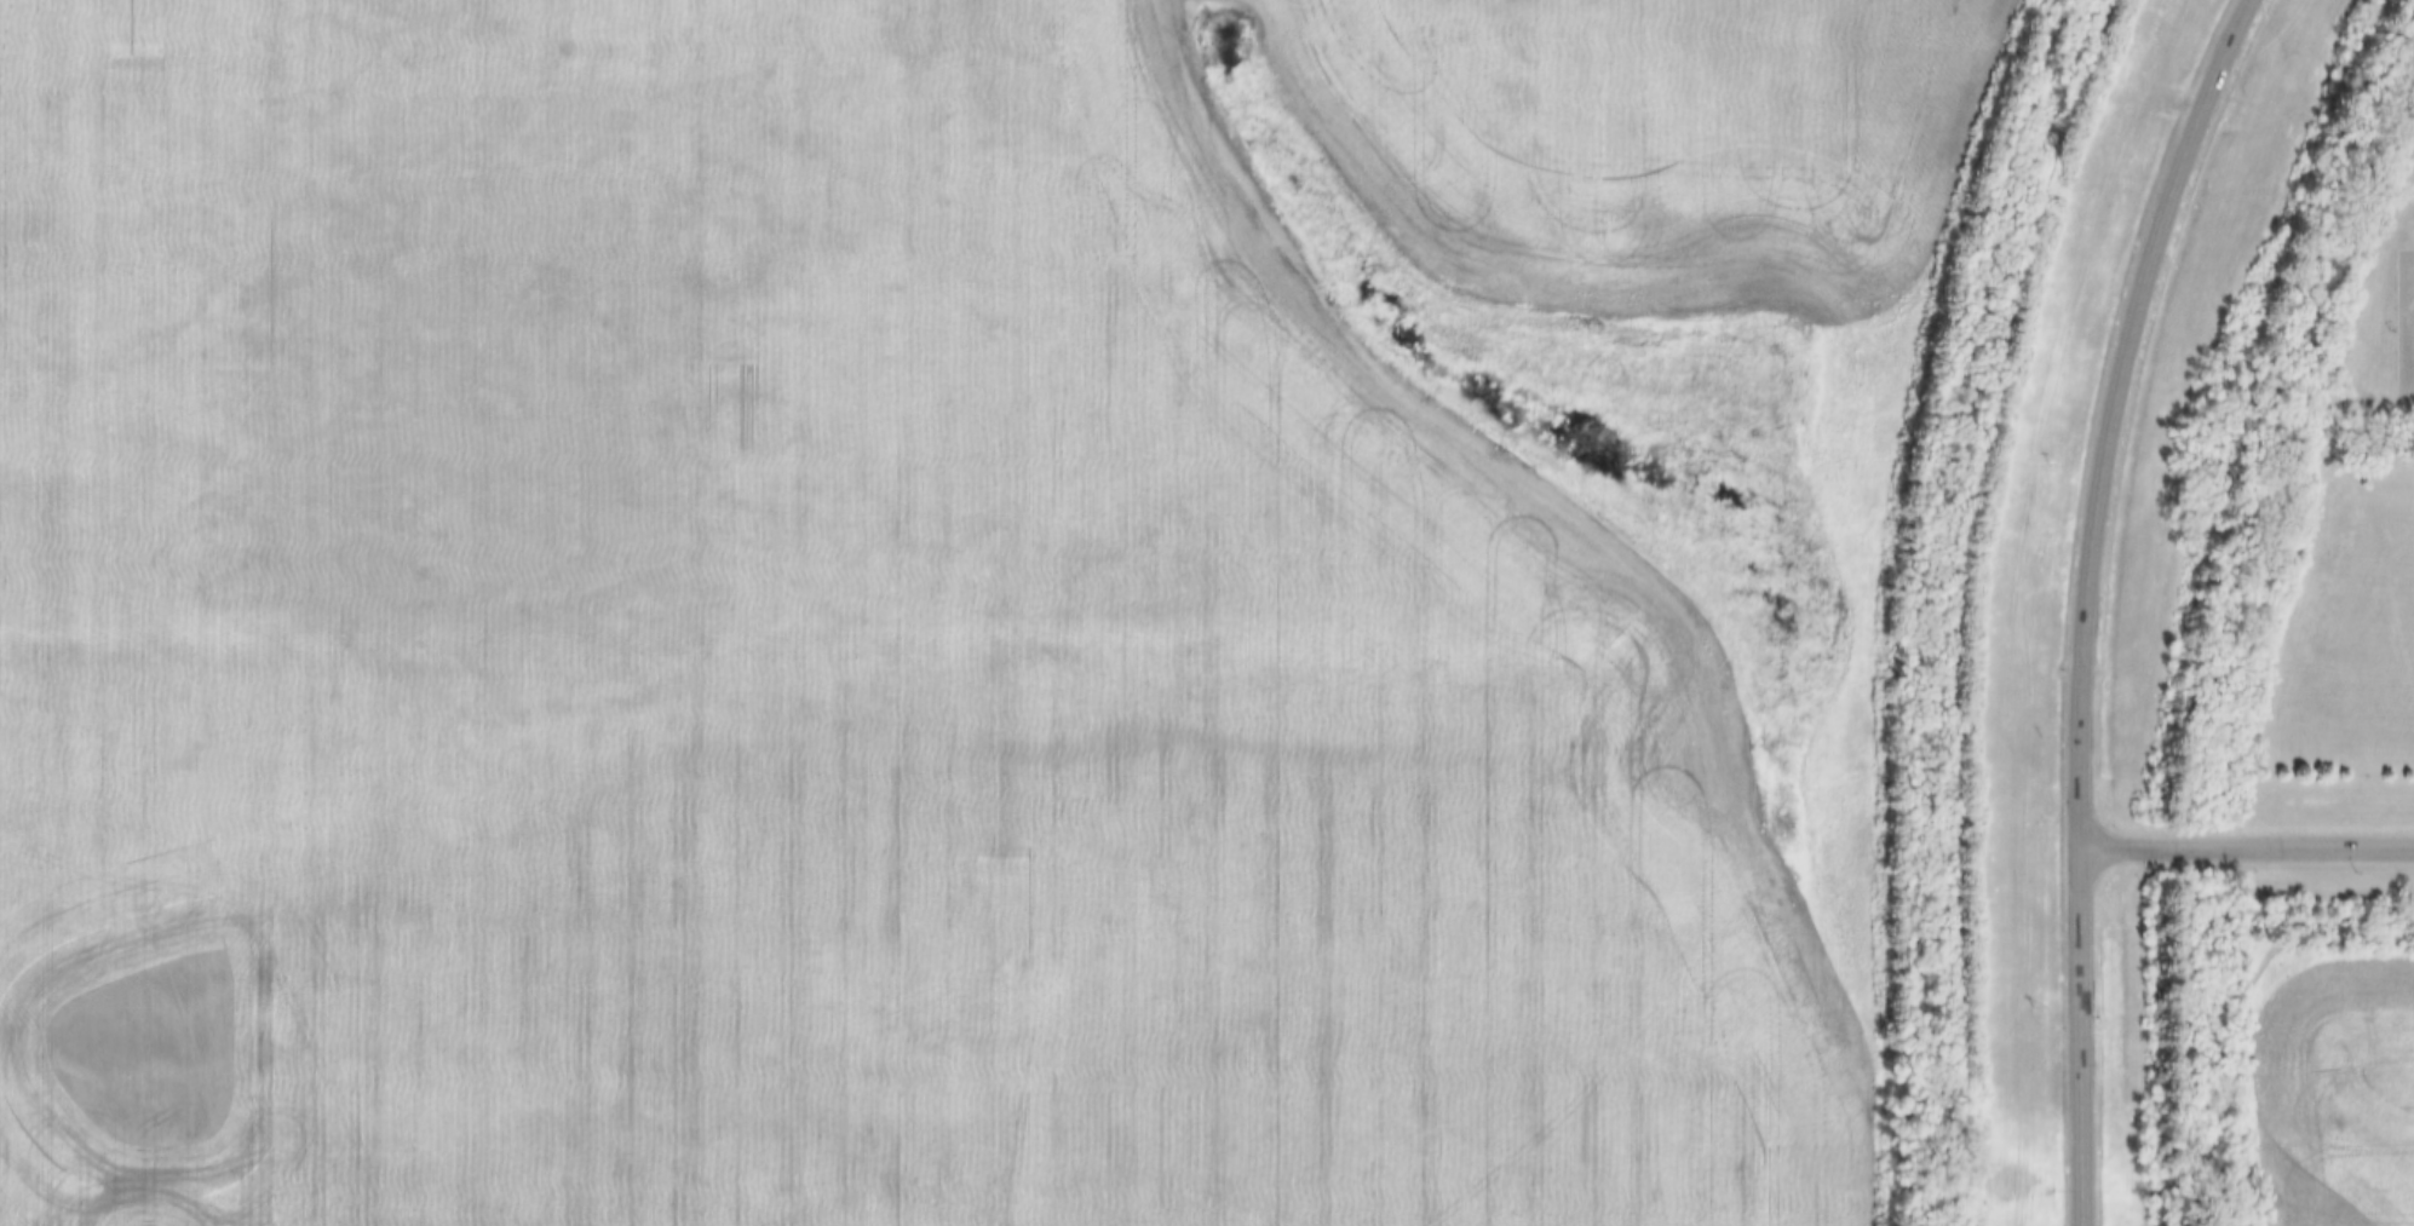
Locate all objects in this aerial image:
road: (2087, 600)
road: (2247, 847)

